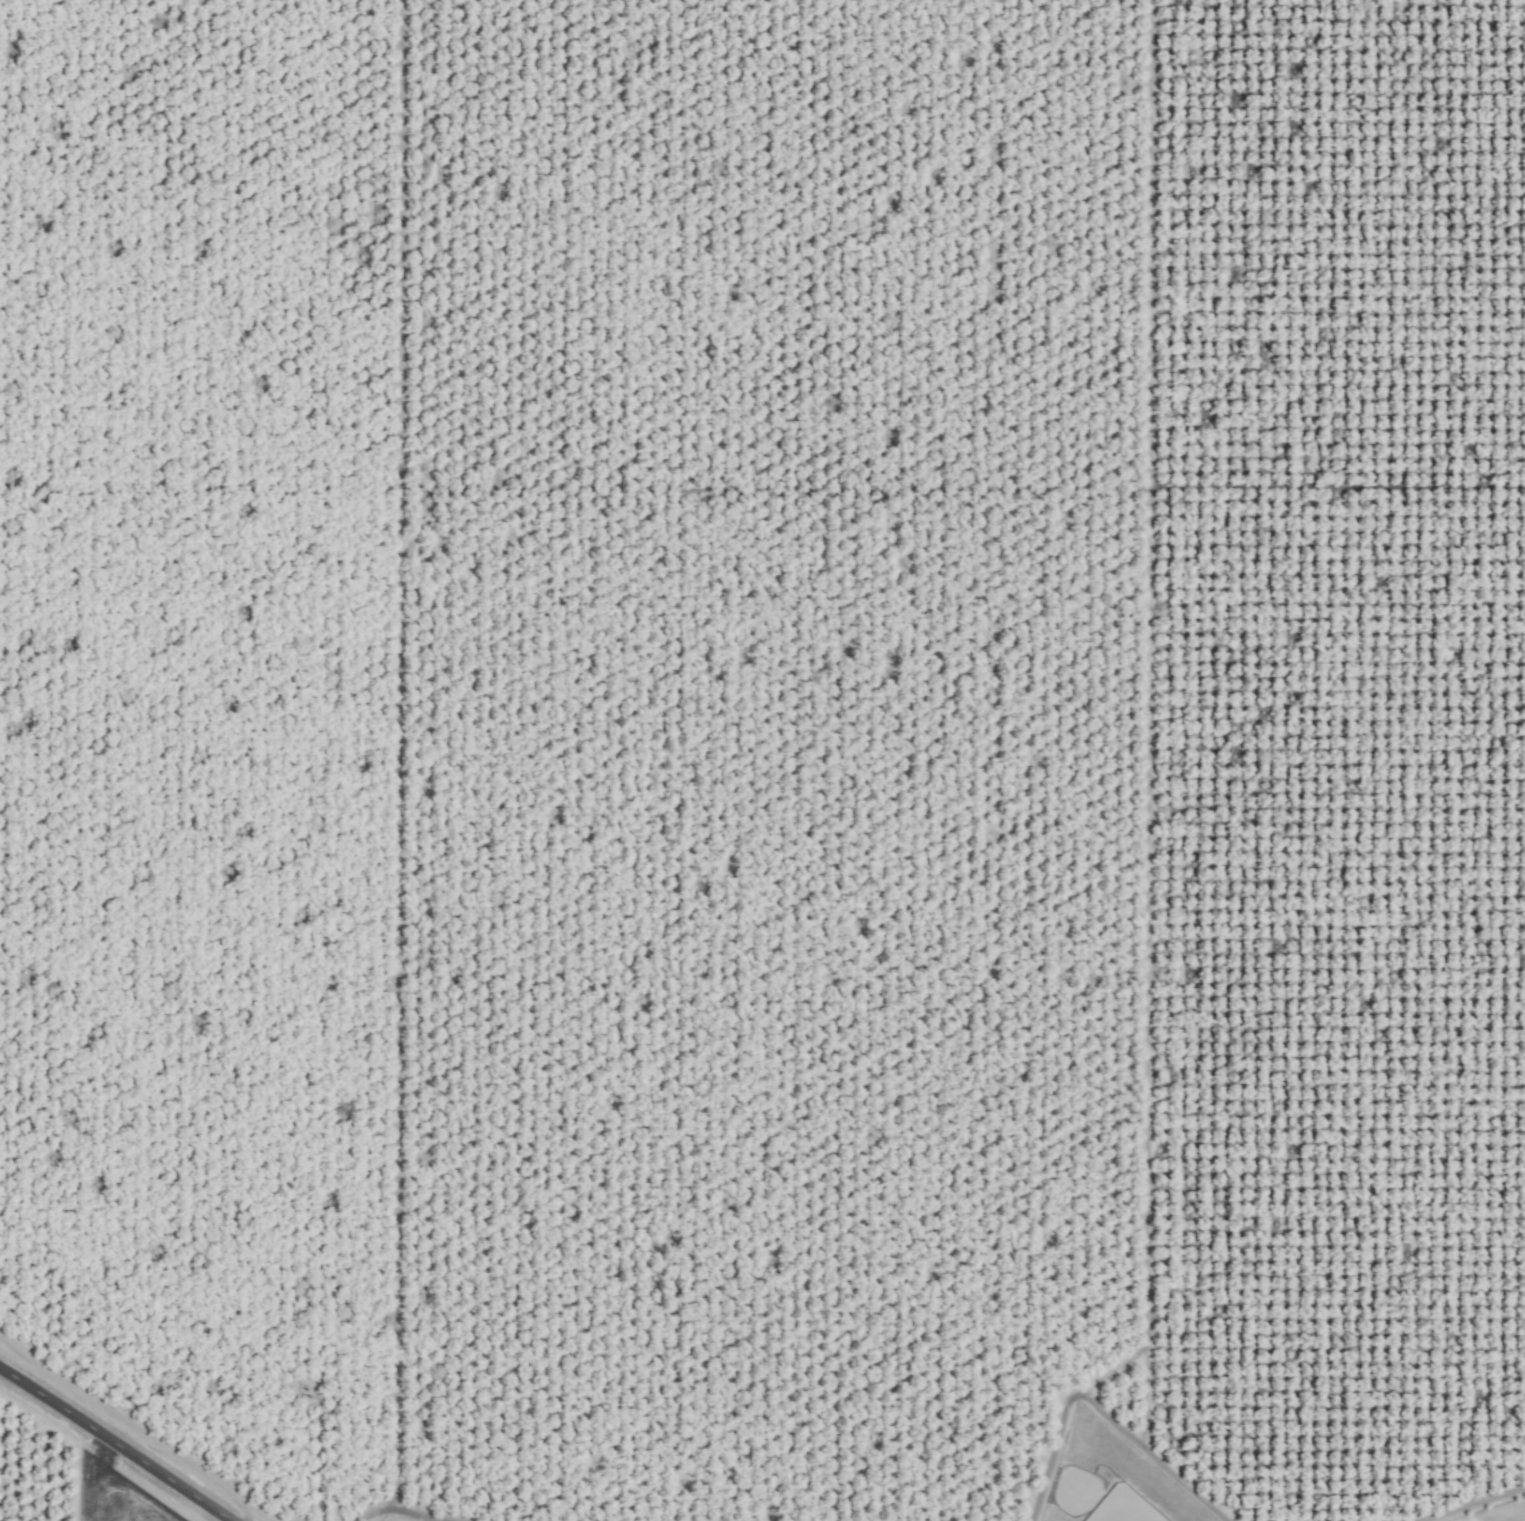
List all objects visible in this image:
road: (115, 1444)
road: (100, 1484)

